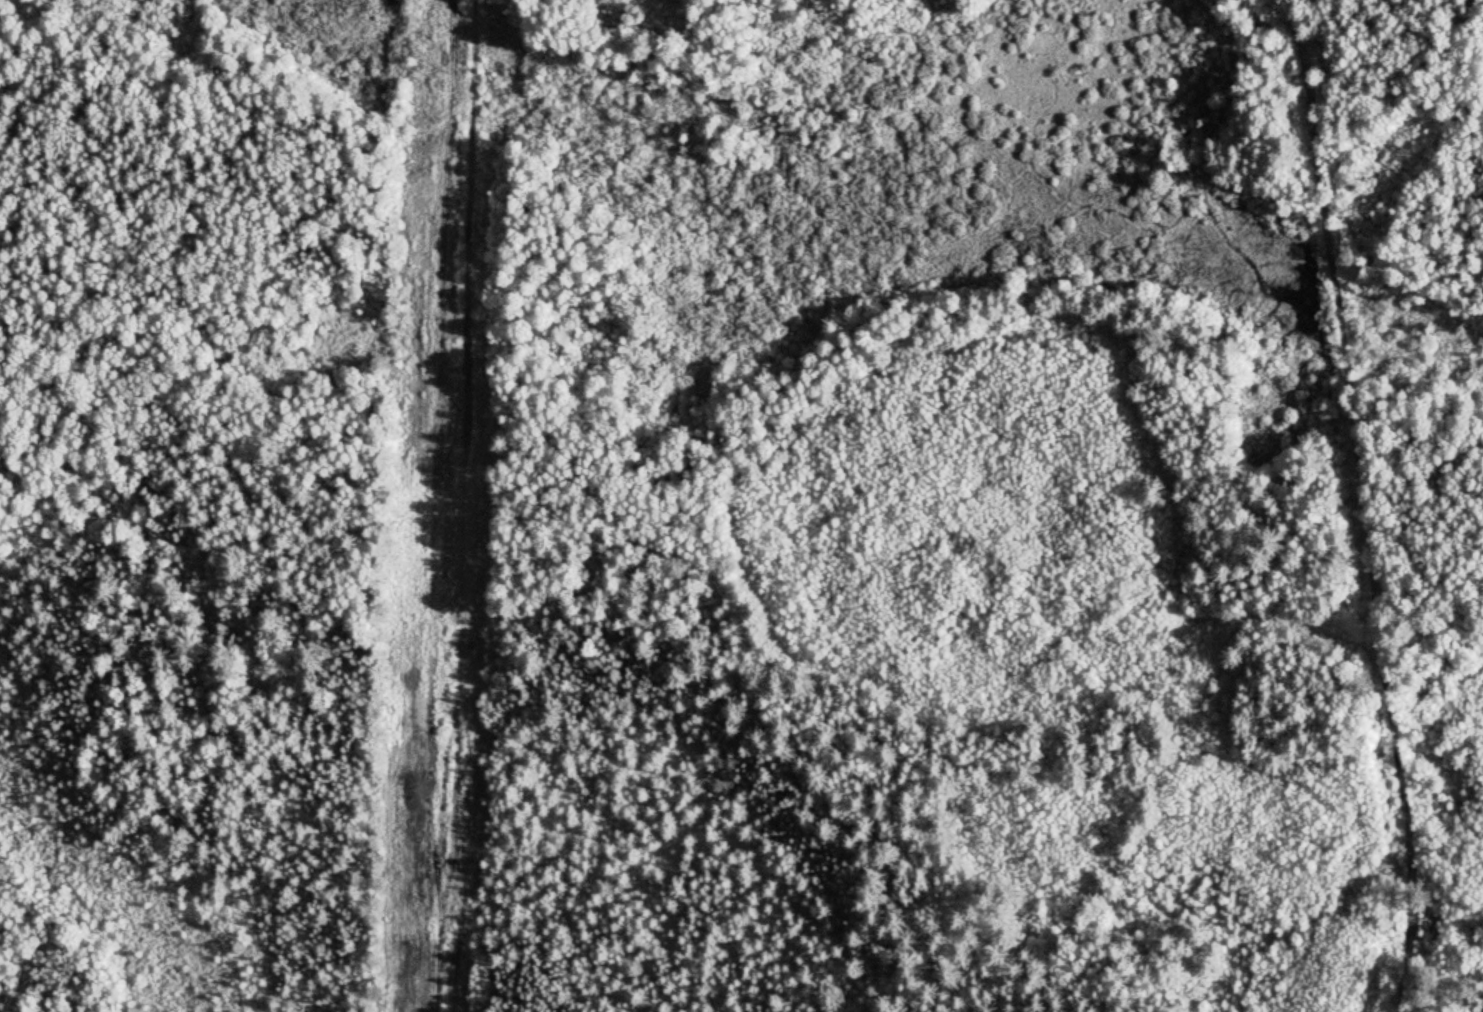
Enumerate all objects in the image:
road: (1355, 503)

